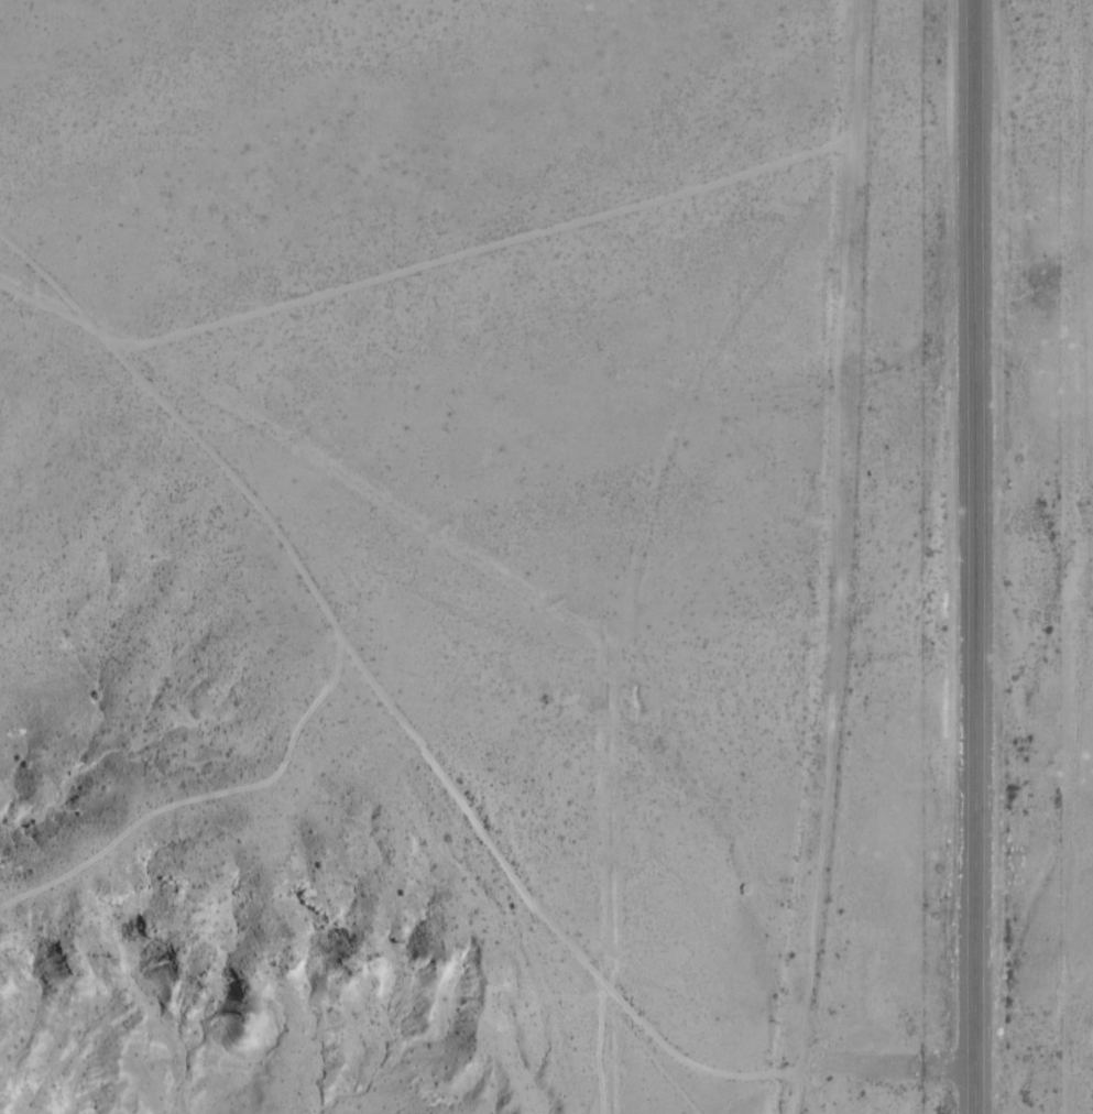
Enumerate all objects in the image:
road: (835, 557)
road: (1001, 557)
road: (426, 813)
road: (578, 1082)

